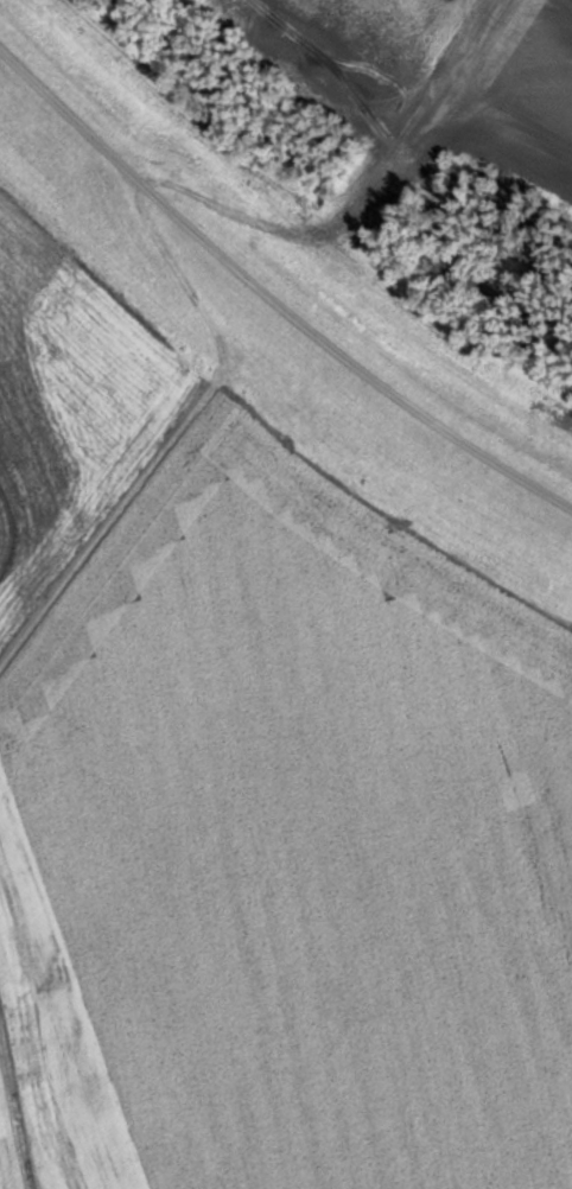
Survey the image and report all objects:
road: (191, 115)
road: (172, 260)
road: (269, 292)

